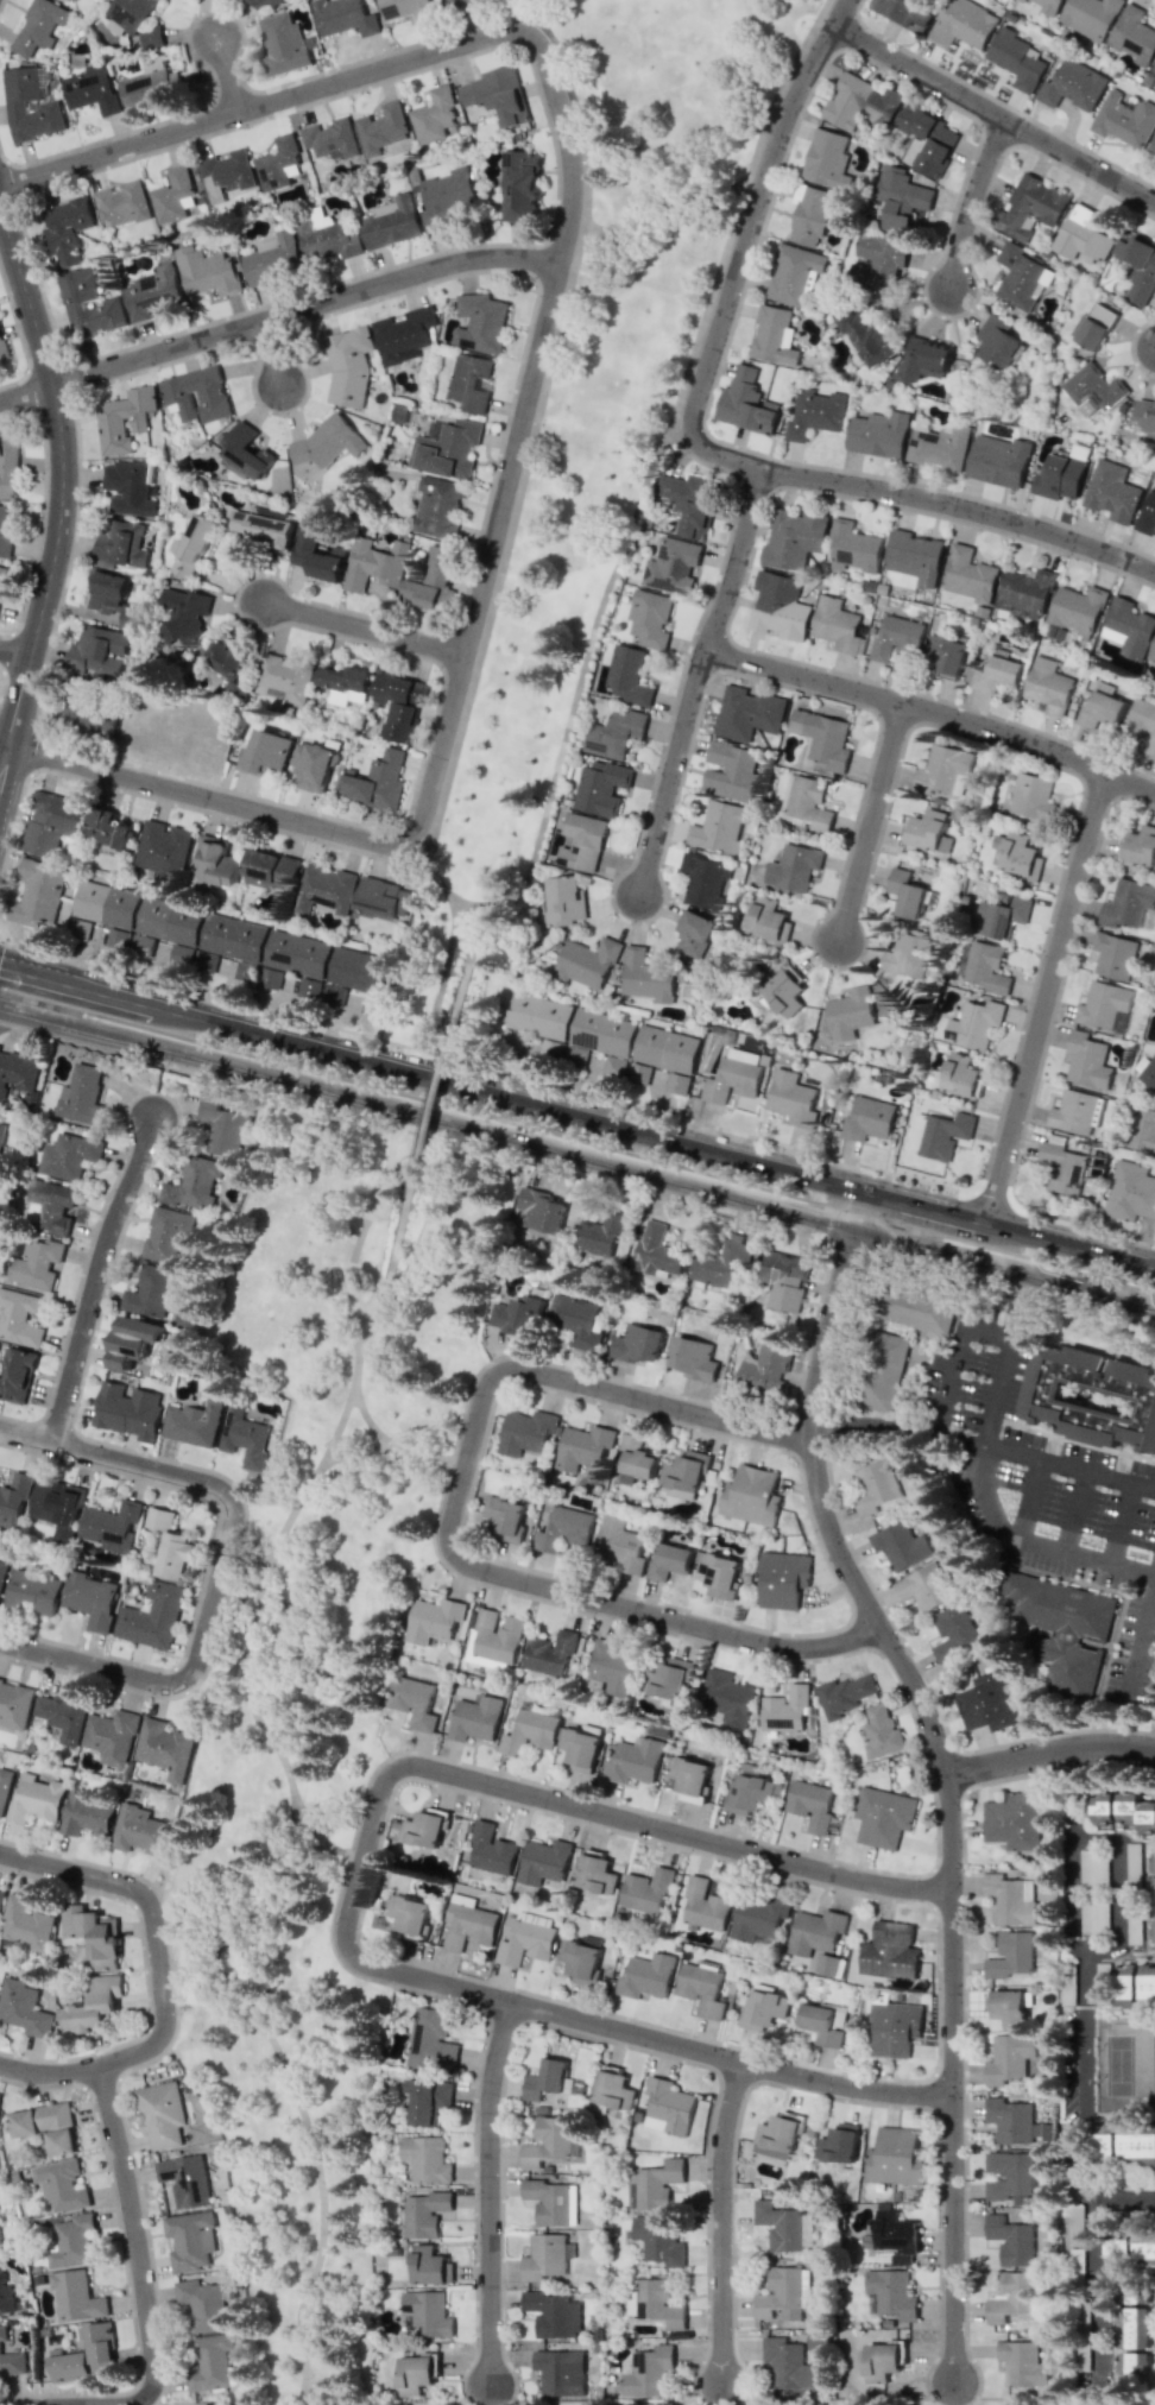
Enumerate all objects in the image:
building: (77, 0)
building: (1022, 0)
building: (465, 2)
building: (257, 6)
building: (1048, 6)
building: (405, 8)
building: (905, 13)
building: (343, 17)
building: (1090, 17)
building: (133, 20)
building: (964, 25)
building: (39, 26)
building: (1132, 34)
building: (282, 44)
building: (1017, 59)
building: (1153, 69)
road: (228, 75)
building: (1072, 86)
building: (150, 87)
building: (91, 88)
building: (497, 95)
building: (860, 103)
building: (29, 105)
road: (996, 112)
building: (433, 115)
building: (1124, 119)
building: (381, 128)
building: (332, 139)
building: (929, 139)
building: (1153, 145)
building: (827, 159)
building: (278, 164)
building: (226, 175)
building: (523, 188)
building: (173, 197)
building: (446, 197)
building: (901, 197)
road: (971, 202)
building: (122, 204)
building: (1029, 208)
building: (810, 216)
building: (392, 222)
building: (67, 229)
building: (1083, 234)
building: (327, 236)
building: (273, 258)
building: (877, 261)
building: (1138, 266)
building: (207, 271)
building: (794, 273)
building: (1022, 277)
building: (153, 292)
building: (74, 303)
road: (279, 316)
building: (480, 322)
building: (1097, 326)
building: (404, 335)
building: (775, 335)
building: (867, 336)
building: (997, 342)
building: (2, 351)
road: (270, 354)
building: (923, 359)
building: (348, 366)
road: (536, 368)
building: (469, 381)
building: (1093, 390)
building: (196, 394)
building: (746, 403)
building: (815, 414)
building: (1145, 416)
building: (124, 418)
building: (878, 434)
building: (328, 441)
road: (700, 443)
road: (689, 444)
building: (447, 448)
building: (245, 452)
building: (998, 460)
park: (589, 462)
building: (8, 466)
building: (127, 487)
building: (1112, 492)
road: (61, 494)
building: (690, 503)
building: (437, 507)
road: (640, 509)
building: (1148, 513)
building: (264, 526)
building: (5, 534)
building: (794, 538)
building: (121, 545)
building: (194, 547)
building: (853, 548)
building: (317, 556)
building: (915, 556)
road: (737, 560)
building: (375, 563)
building: (673, 566)
building: (968, 574)
building: (1, 575)
building: (431, 582)
building: (107, 589)
building: (1025, 593)
building: (778, 606)
building: (1078, 608)
building: (184, 616)
building: (650, 618)
building: (837, 625)
building: (1129, 627)
road: (364, 630)
building: (896, 638)
building: (99, 652)
road: (14, 655)
building: (1153, 655)
building: (946, 656)
building: (225, 658)
building: (996, 671)
building: (627, 675)
building: (283, 678)
building: (346, 684)
building: (1048, 686)
building: (400, 703)
building: (1102, 709)
building: (747, 713)
road: (933, 713)
building: (88, 718)
building: (1143, 722)
building: (614, 733)
building: (822, 738)
building: (267, 751)
building: (313, 766)
building: (942, 769)
building: (732, 771)
road: (670, 772)
building: (375, 782)
building: (601, 787)
building: (1031, 796)
building: (807, 803)
building: (51, 822)
road: (872, 825)
building: (720, 827)
building: (107, 829)
building: (929, 831)
building: (582, 841)
building: (1140, 846)
building: (1018, 854)
building: (219, 865)
building: (794, 867)
building: (272, 870)
building: (705, 879)
building: (324, 890)
building: (905, 892)
building: (37, 894)
building: (381, 898)
building: (564, 901)
building: (1128, 904)
building: (103, 907)
building: (1003, 915)
building: (172, 927)
building: (695, 934)
building: (119, 938)
building: (233, 938)
building: (143, 945)
building: (1115, 954)
building: (907, 957)
building: (207, 961)
building: (296, 962)
building: (587, 962)
building: (984, 966)
building: (245, 971)
building: (361, 973)
building: (646, 977)
building: (784, 992)
building: (333, 993)
road: (1046, 999)
road: (7, 1000)
building: (1103, 1004)
building: (856, 1011)
building: (537, 1023)
building: (974, 1024)
road: (111, 1028)
building: (601, 1033)
building: (661, 1053)
building: (575, 1055)
building: (1087, 1060)
building: (613, 1066)
building: (17, 1072)
building: (1149, 1073)
building: (960, 1074)
building: (733, 1077)
building: (677, 1082)
building: (81, 1094)
road: (435, 1096)
building: (793, 1098)
building: (1073, 1111)
building: (869, 1119)
road: (576, 1122)
building: (221, 1124)
building: (939, 1134)
building: (1, 1136)
building: (69, 1155)
building: (1064, 1168)
road: (681, 1175)
building: (194, 1183)
building: (1130, 1192)
building: (51, 1206)
building: (539, 1210)
road: (370, 1213)
building: (166, 1233)
building: (598, 1237)
building: (656, 1252)
road: (393, 1258)
building: (37, 1262)
building: (721, 1264)
road: (96, 1279)
building: (784, 1279)
building: (151, 1293)
building: (915, 1312)
building: (19, 1317)
building: (579, 1323)
road: (987, 1332)
building: (133, 1340)
building: (638, 1344)
building: (692, 1358)
building: (764, 1368)
building: (883, 1371)
building: (17, 1375)
road: (993, 1393)
road: (354, 1395)
building: (1092, 1396)
building: (128, 1410)
building: (194, 1422)
road: (881, 1422)
building: (525, 1432)
building: (245, 1437)
building: (585, 1446)
road: (393, 1448)
road: (360, 1452)
road: (971, 1458)
building: (636, 1459)
road: (1066, 1469)
building: (683, 1475)
building: (875, 1488)
building: (750, 1496)
road: (1027, 1498)
building: (13, 1500)
building: (57, 1507)
road: (983, 1507)
road: (1073, 1513)
building: (505, 1517)
road: (450, 1520)
building: (112, 1526)
road: (1119, 1526)
building: (564, 1529)
building: (170, 1545)
building: (619, 1545)
building: (900, 1545)
road: (248, 1555)
building: (669, 1561)
road: (221, 1567)
building: (2, 1572)
building: (720, 1574)
building: (782, 1579)
building: (924, 1587)
building: (33, 1592)
building: (91, 1599)
building: (151, 1616)
building: (433, 1621)
road: (253, 1626)
building: (1061, 1630)
building: (955, 1633)
building: (492, 1639)
road: (1142, 1646)
building: (549, 1653)
road: (225, 1658)
building: (611, 1668)
building: (669, 1678)
park: (315, 1691)
building: (844, 1694)
building: (727, 1698)
building: (412, 1702)
building: (14, 1704)
building: (986, 1705)
building: (785, 1710)
building: (62, 1715)
building: (475, 1718)
building: (881, 1731)
building: (529, 1732)
building: (111, 1736)
building: (580, 1747)
building: (163, 1749)
road: (1050, 1755)
building: (635, 1761)
road: (947, 1773)
building: (689, 1778)
building: (752, 1793)
building: (36, 1799)
building: (810, 1804)
building: (1105, 1810)
building: (1136, 1812)
building: (87, 1814)
building: (883, 1817)
building: (1012, 1822)
building: (424, 1828)
building: (140, 1830)
road: (315, 1836)
building: (491, 1850)
road: (342, 1855)
building: (543, 1861)
building: (1132, 1866)
building: (1093, 1868)
building: (597, 1874)
road: (356, 1885)
building: (645, 1889)
road: (1117, 1893)
road: (271, 1895)
building: (1, 1896)
building: (1153, 1898)
building: (1010, 1899)
building: (705, 1906)
building: (411, 1915)
building: (757, 1918)
building: (1093, 1918)
building: (1132, 1920)
building: (26, 1924)
building: (468, 1927)
building: (815, 1932)
building: (1154, 1932)
building: (93, 1934)
building: (524, 1938)
building: (890, 1951)
building: (1011, 1956)
road: (207, 1957)
road: (246, 1957)
building: (580, 1957)
building: (827, 1963)
road: (220, 1976)
building: (645, 1976)
road: (160, 1977)
building: (1147, 1984)
building: (1125, 1986)
building: (701, 1989)
building: (96, 2005)
road: (1075, 2006)
building: (764, 2007)
building: (1010, 2007)
building: (24, 2008)
building: (823, 2022)
building: (894, 2028)
building: (430, 2040)
building: (1010, 2058)
building: (547, 2079)
building: (612, 2090)
building: (428, 2100)
building: (667, 2107)
building: (160, 2114)
building: (1011, 2121)
building: (46, 2126)
building: (776, 2136)
building: (547, 2141)
building: (1104, 2141)
building: (839, 2144)
building: (1137, 2145)
building: (895, 2157)
building: (425, 2159)
building: (1012, 2174)
building: (185, 2179)
building: (61, 2185)
building: (654, 2185)
road: (323, 2190)
road: (490, 2192)
building: (0, 2208)
building: (424, 2214)
road: (725, 2224)
building: (780, 2226)
building: (892, 2233)
building: (659, 2237)
road: (138, 2239)
building: (190, 2240)
building: (1012, 2240)
building: (74, 2241)
building: (0, 2242)
building: (1118, 2251)
building: (1144, 2252)
building: (545, 2258)
building: (429, 2265)
road: (1103, 2283)
building: (1132, 2292)
building: (890, 2293)
building: (6, 2296)
building: (76, 2296)
building: (781, 2296)
building: (1011, 2297)
building: (203, 2303)
building: (658, 2303)
building: (554, 2314)
building: (423, 2315)
building: (1134, 2340)
building: (87, 2355)
building: (11, 2357)
building: (210, 2362)
building: (882, 2362)
building: (788, 2363)
building: (1023, 2365)
building: (561, 2372)
building: (650, 2372)
building: (416, 2374)
road: (958, 2393)

